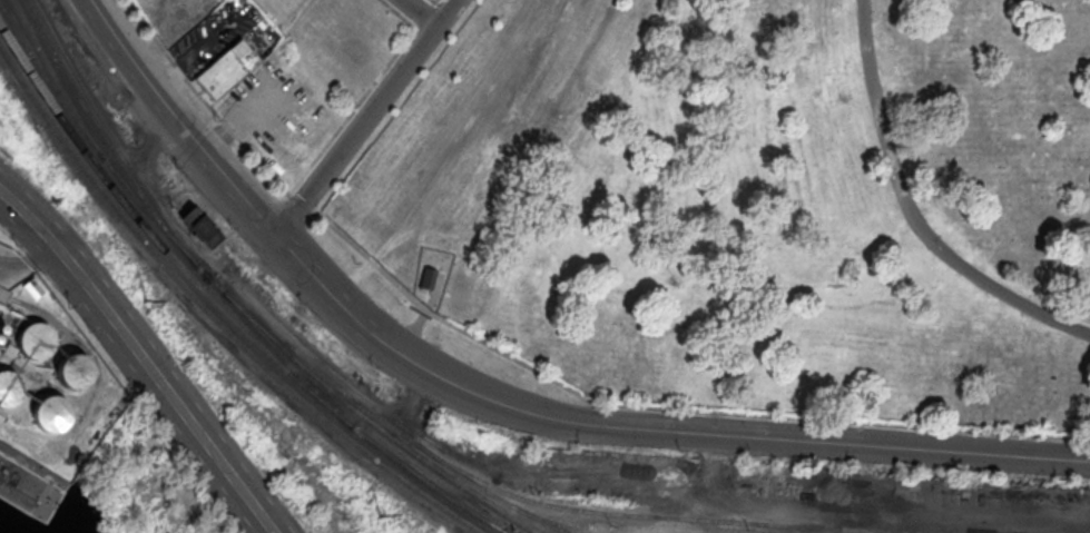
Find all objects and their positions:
road: (418, 13)
building: (227, 69)
railway: (56, 82)
road: (365, 117)
road: (178, 121)
railway: (100, 138)
park: (746, 208)
road: (914, 210)
building: (199, 227)
road: (310, 269)
building: (425, 279)
building: (32, 289)
railway: (233, 305)
power tower: (149, 306)
railway: (220, 309)
road: (424, 314)
railway: (212, 317)
building: (35, 342)
road: (143, 356)
road: (416, 361)
railway: (284, 363)
building: (72, 372)
building: (8, 388)
building: (50, 414)
road: (793, 441)
railway: (432, 455)
power tower: (377, 512)
railway: (693, 519)
railway: (498, 531)

